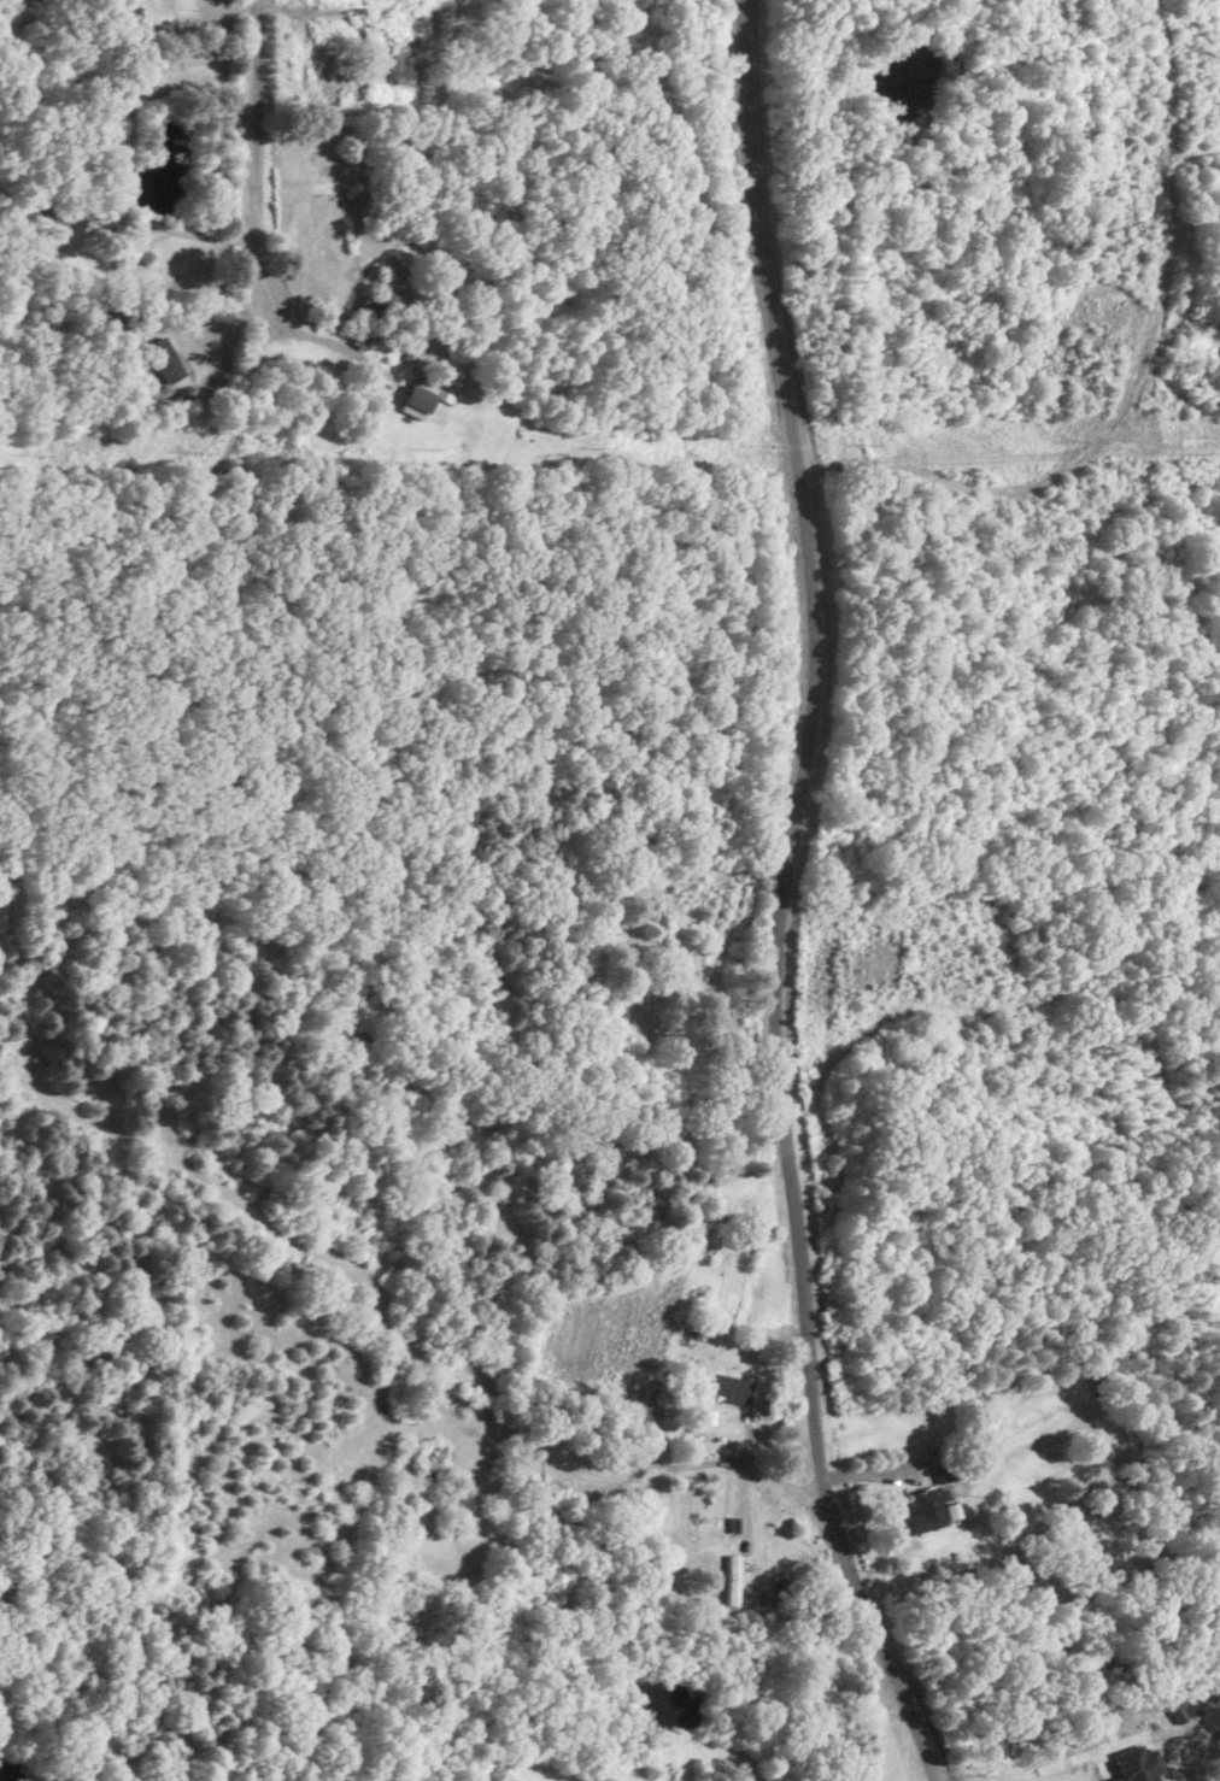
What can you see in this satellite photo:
building: (129, 13)
road: (257, 158)
road: (178, 229)
building: (68, 231)
road: (803, 696)
road: (700, 1380)
building: (725, 1386)
road: (749, 1462)
road: (879, 1587)
road: (1075, 1759)
building: (1136, 1764)

